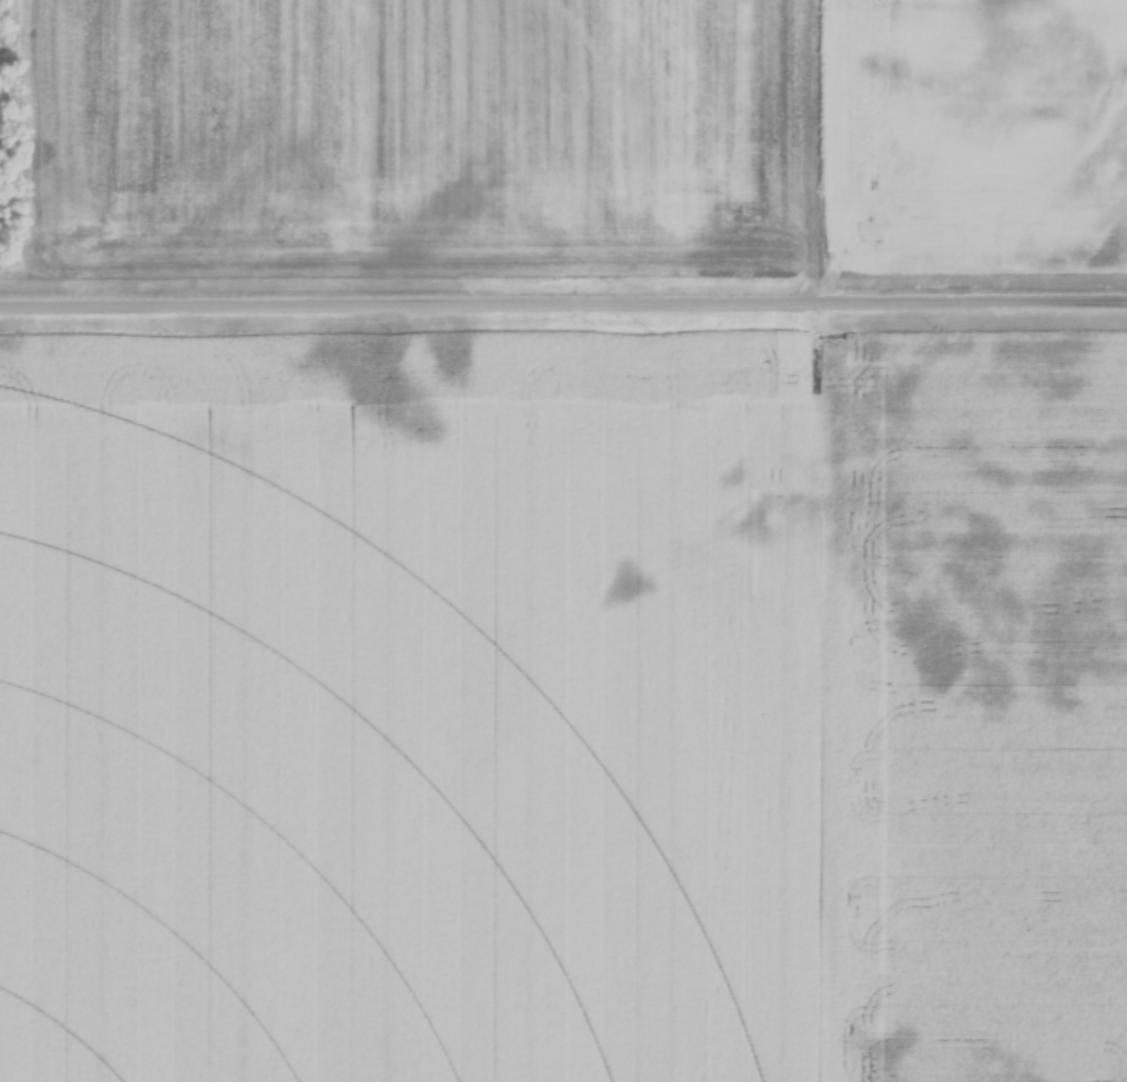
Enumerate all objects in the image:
road: (563, 309)

